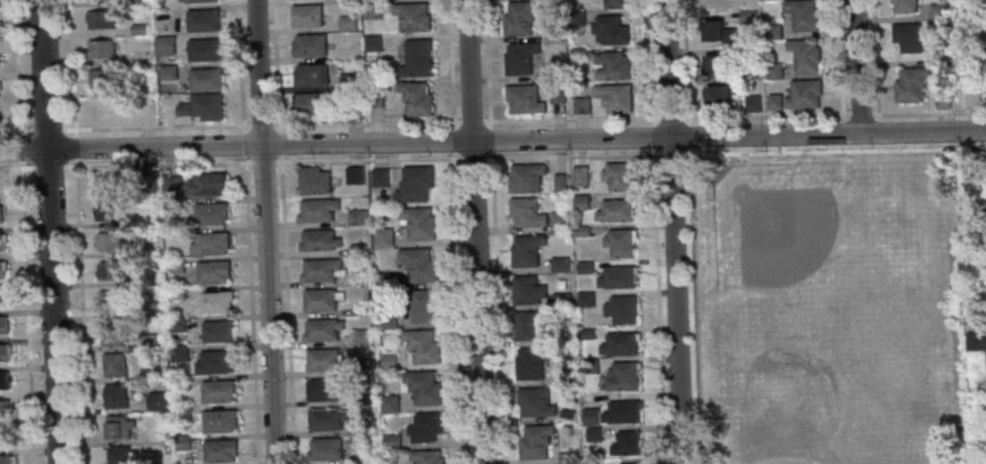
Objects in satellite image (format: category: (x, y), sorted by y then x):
building: (202, 0)
building: (717, 2)
building: (616, 3)
building: (905, 6)
building: (371, 9)
building: (939, 12)
building: (802, 14)
building: (307, 16)
building: (577, 16)
building: (521, 17)
building: (747, 17)
building: (411, 18)
building: (100, 20)
building: (206, 20)
building: (346, 23)
building: (138, 29)
building: (611, 29)
building: (719, 31)
building: (774, 32)
building: (555, 33)
building: (910, 37)
building: (372, 43)
building: (164, 46)
building: (309, 46)
building: (101, 49)
building: (207, 49)
building: (749, 51)
building: (578, 52)
building: (805, 55)
building: (521, 57)
road: (838, 57)
road: (874, 57)
building: (418, 58)
building: (0, 61)
road: (650, 61)
road: (686, 61)
building: (982, 61)
building: (613, 65)
building: (714, 65)
road: (241, 66)
road: (276, 66)
road: (857, 67)
building: (552, 71)
building: (774, 71)
building: (167, 73)
building: (309, 76)
building: (207, 79)
building: (101, 80)
building: (350, 81)
building: (911, 83)
building: (0, 89)
building: (557, 92)
building: (803, 94)
building: (720, 95)
building: (615, 97)
building: (972, 97)
building: (376, 98)
building: (416, 98)
building: (525, 98)
building: (942, 99)
building: (774, 102)
building: (752, 103)
building: (313, 104)
building: (581, 105)
building: (205, 106)
building: (352, 111)
road: (833, 115)
road: (670, 117)
road: (465, 122)
road: (261, 126)
road: (125, 128)
road: (689, 135)
road: (652, 136)
road: (516, 141)
road: (242, 143)
road: (279, 144)
road: (973, 147)
road: (23, 151)
road: (572, 156)
road: (671, 156)
road: (686, 156)
road: (474, 158)
road: (368, 159)
road: (263, 161)
road: (157, 164)
road: (48, 166)
road: (16, 167)
building: (355, 175)
building: (580, 175)
building: (617, 176)
building: (380, 177)
building: (527, 177)
building: (316, 182)
building: (559, 182)
building: (107, 184)
building: (415, 184)
building: (171, 185)
building: (205, 185)
building: (581, 202)
building: (317, 210)
building: (111, 211)
building: (615, 211)
building: (526, 212)
building: (210, 213)
building: (0, 214)
building: (981, 216)
building: (357, 218)
building: (559, 221)
building: (419, 223)
building: (582, 230)
road: (49, 231)
road: (78, 231)
road: (459, 231)
road: (475, 231)
road: (495, 231)
road: (673, 231)
road: (22, 232)
road: (263, 232)
park: (787, 234)
building: (383, 237)
building: (319, 239)
building: (1, 241)
building: (110, 242)
building: (619, 242)
building: (213, 243)
building: (979, 244)
building: (357, 249)
building: (526, 250)
building: (419, 264)
building: (560, 264)
building: (175, 266)
building: (584, 267)
building: (2, 269)
building: (320, 269)
building: (111, 271)
building: (214, 271)
building: (617, 277)
building: (358, 279)
building: (384, 281)
building: (528, 290)
building: (176, 293)
building: (2, 297)
building: (320, 299)
building: (586, 299)
building: (561, 301)
building: (216, 302)
building: (110, 303)
building: (424, 306)
road: (658, 306)
road: (695, 306)
building: (360, 308)
road: (250, 309)
road: (287, 309)
building: (620, 309)
building: (386, 321)
building: (3, 324)
building: (177, 324)
building: (530, 325)
building: (322, 329)
building: (217, 331)
building: (115, 333)
building: (585, 334)
building: (563, 335)
building: (361, 336)
building: (147, 341)
building: (978, 341)
building: (619, 344)
building: (423, 346)
building: (4, 352)
building: (179, 353)
building: (323, 359)
building: (217, 361)
building: (387, 361)
building: (532, 362)
building: (114, 364)
building: (364, 365)
building: (590, 365)
building: (148, 373)
building: (564, 376)
building: (622, 377)
building: (4, 380)
building: (180, 383)
building: (422, 387)
building: (323, 389)
building: (218, 391)
building: (365, 395)
building: (116, 396)
building: (156, 401)
building: (535, 402)
building: (389, 404)
building: (5, 408)
building: (622, 412)
building: (182, 413)
building: (567, 416)
building: (590, 417)
building: (325, 419)
building: (220, 420)
building: (120, 426)
building: (366, 426)
building: (426, 427)
building: (593, 435)
building: (5, 436)
building: (391, 441)
building: (536, 441)
building: (182, 443)
building: (627, 444)
building: (326, 448)
building: (220, 450)
building: (120, 455)
building: (427, 457)
building: (567, 458)
building: (8, 459)
park: (785, 461)
building: (633, 463)

